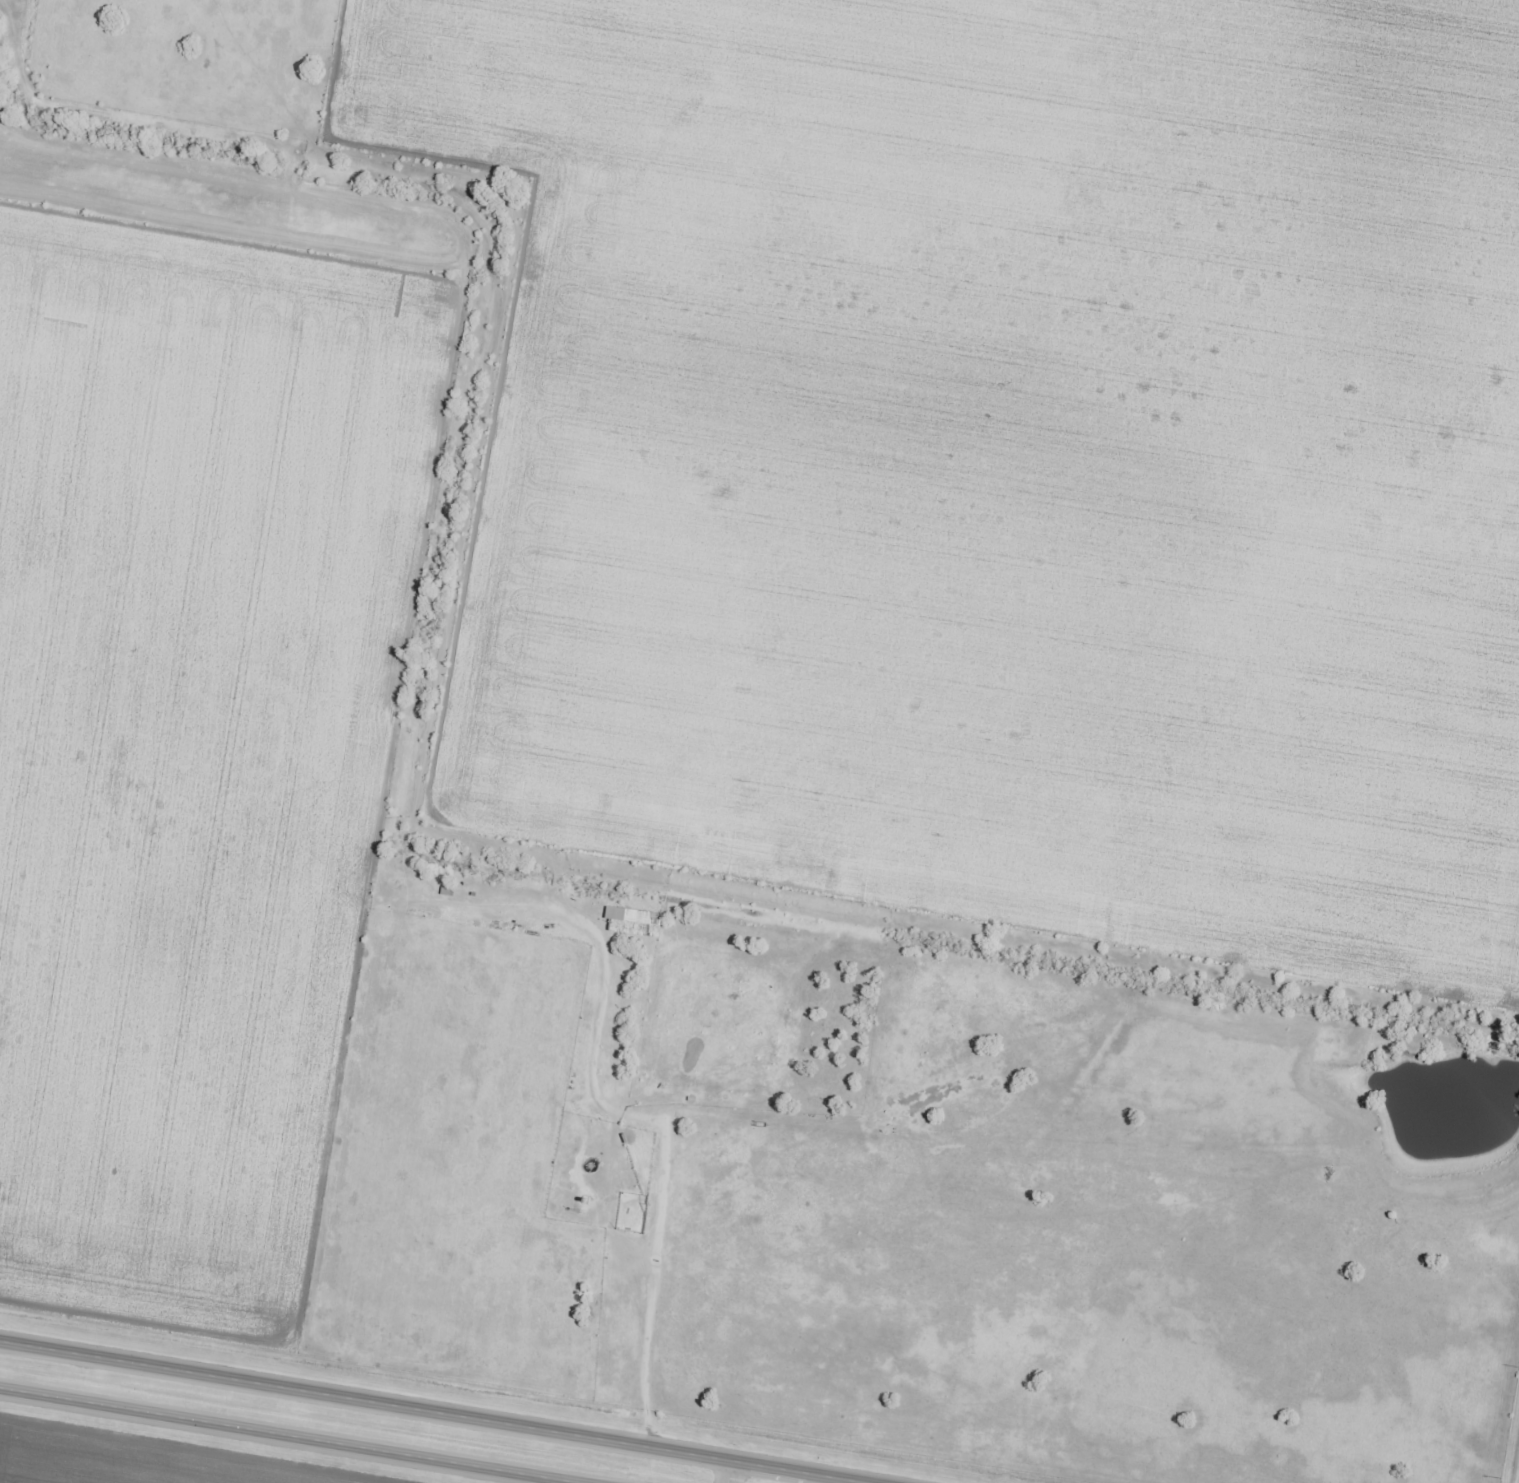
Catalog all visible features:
building: (633, 922)
road: (436, 1411)
road: (293, 1435)
road: (727, 1471)

